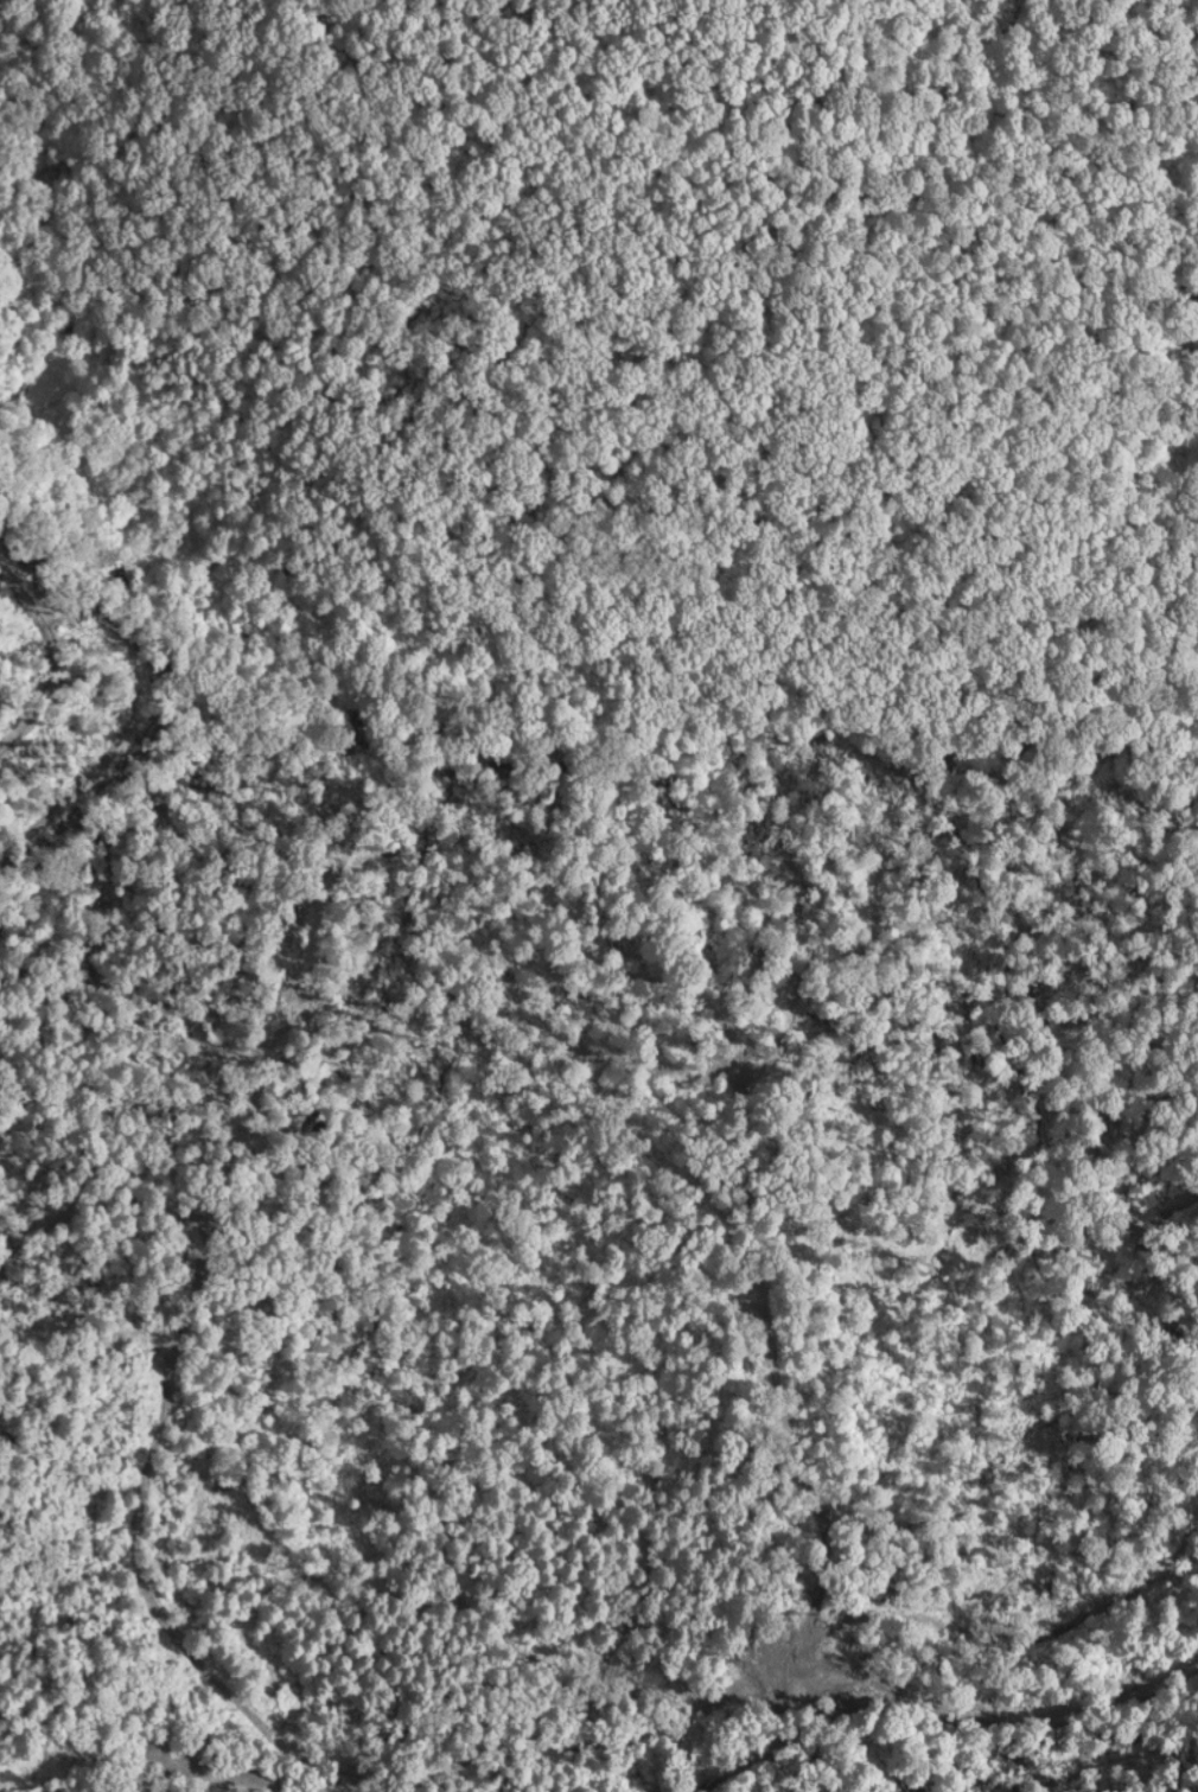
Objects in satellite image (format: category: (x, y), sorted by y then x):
road: (607, 1768)

